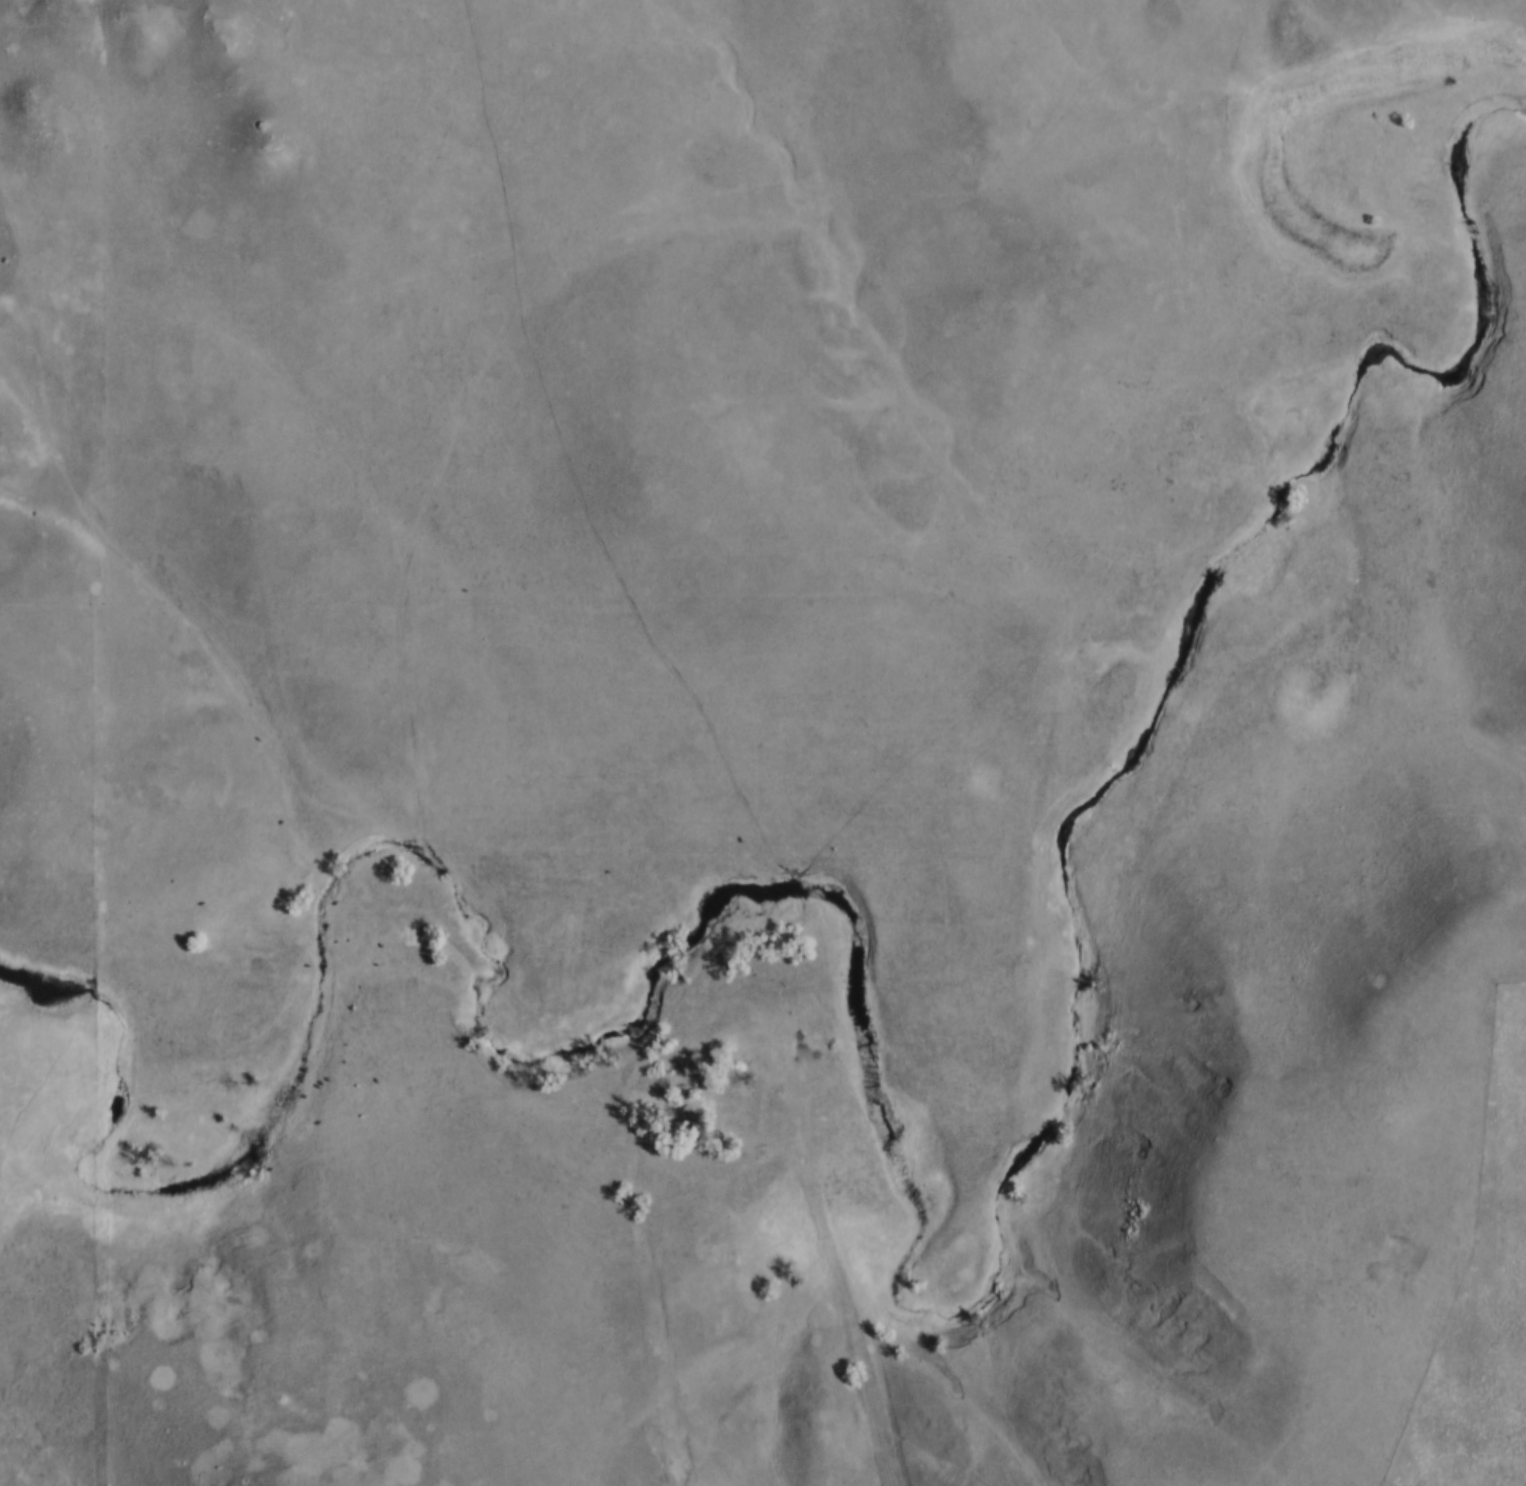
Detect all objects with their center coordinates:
road: (857, 1329)

